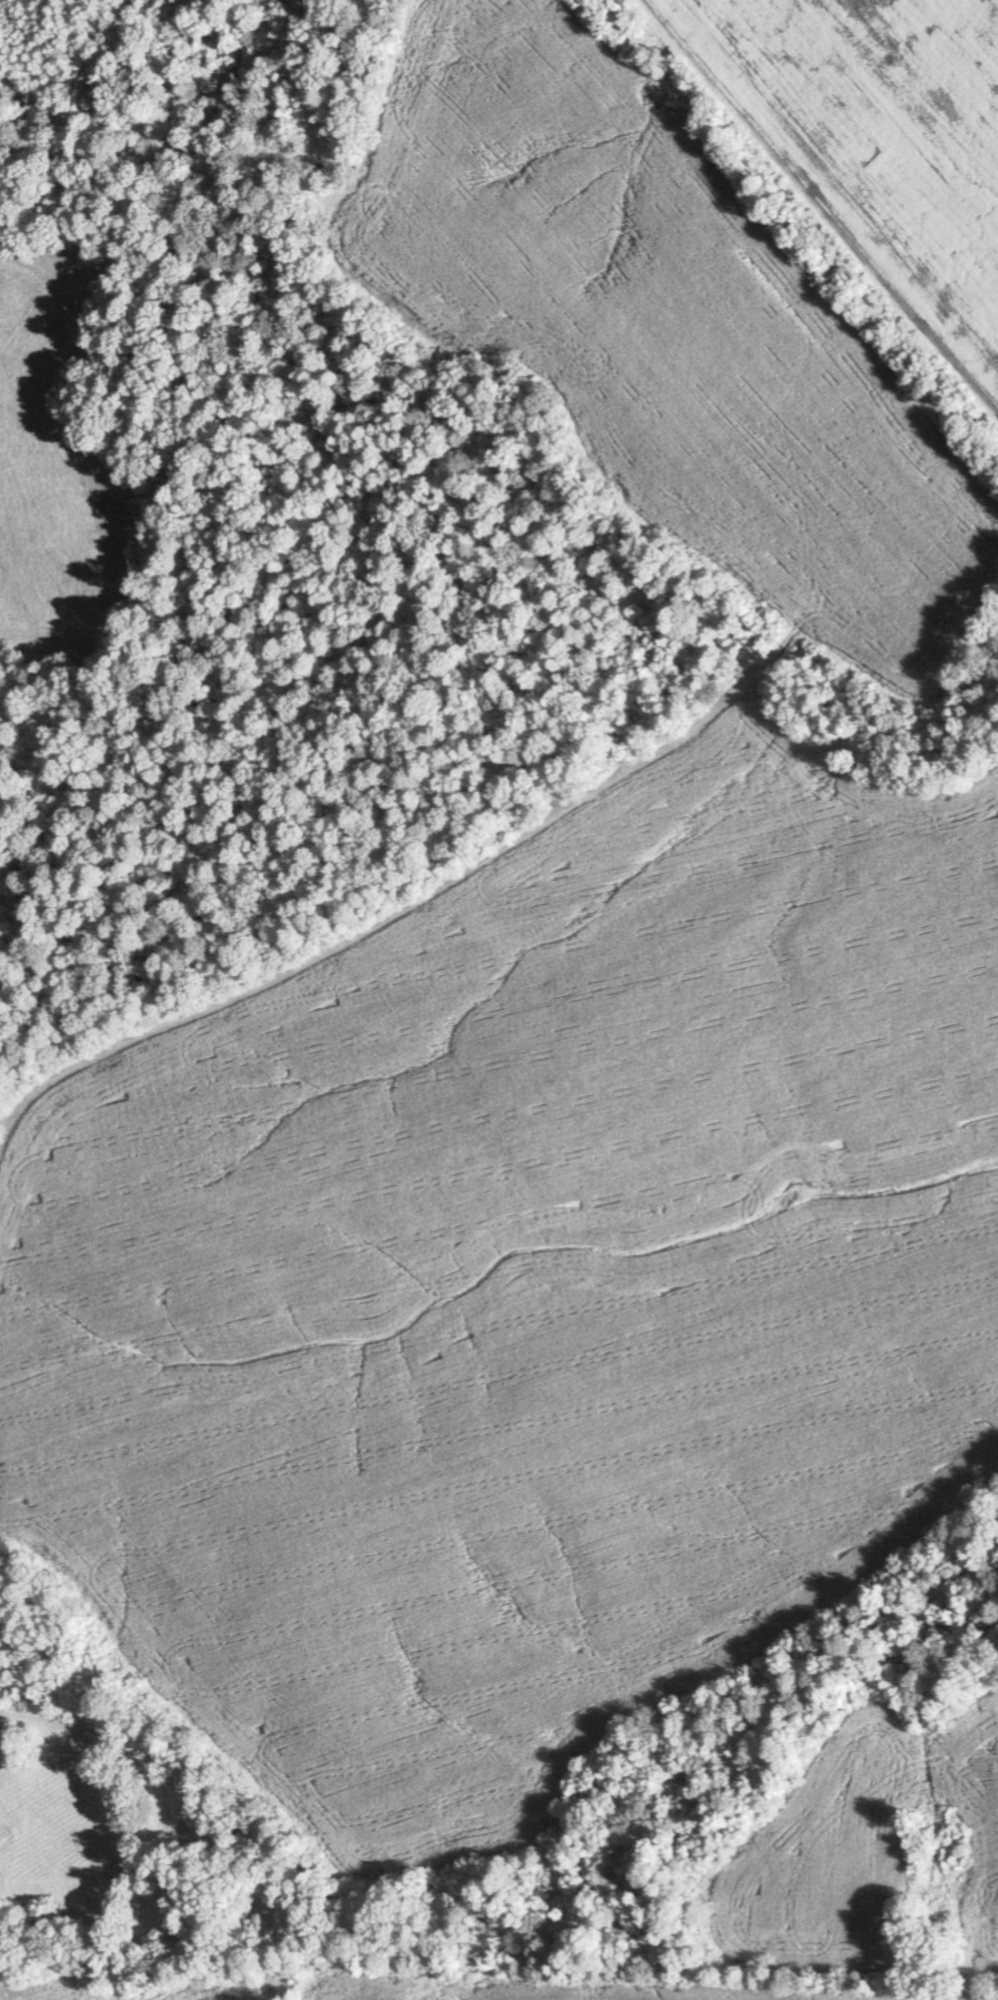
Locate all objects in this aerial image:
road: (47, 1724)

